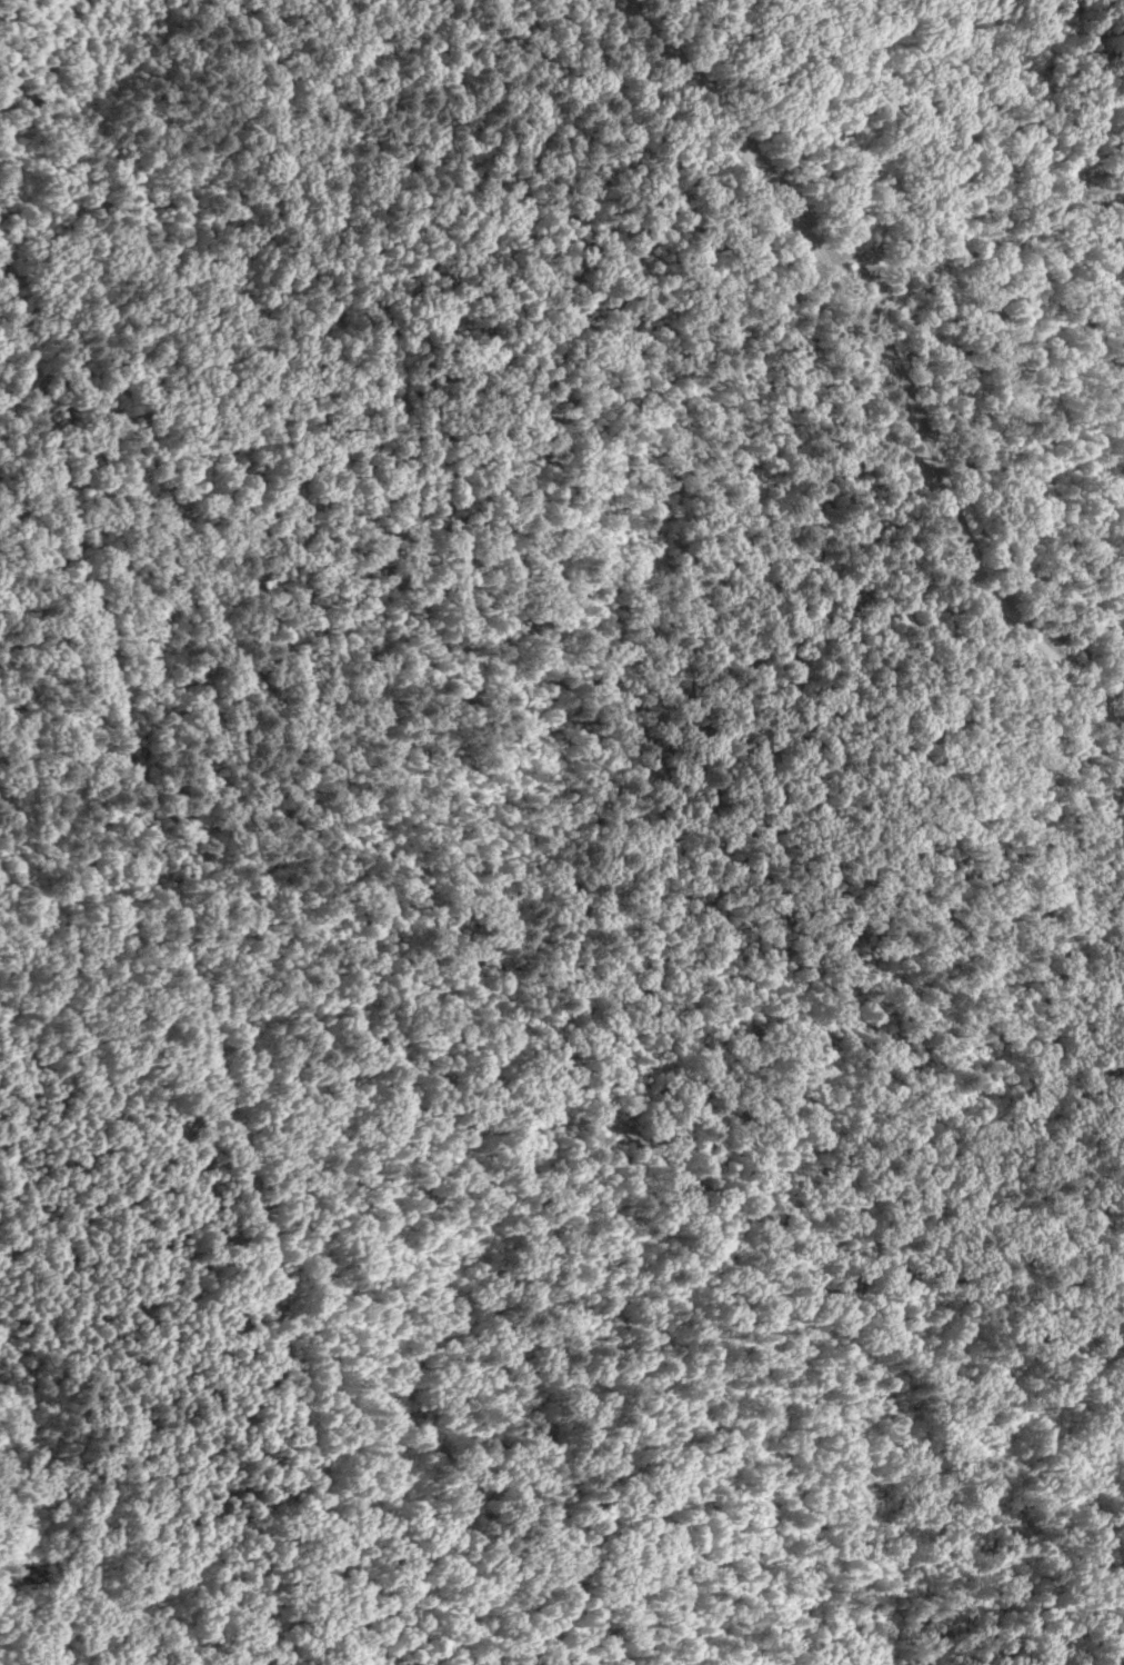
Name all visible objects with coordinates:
road: (880, 358)

